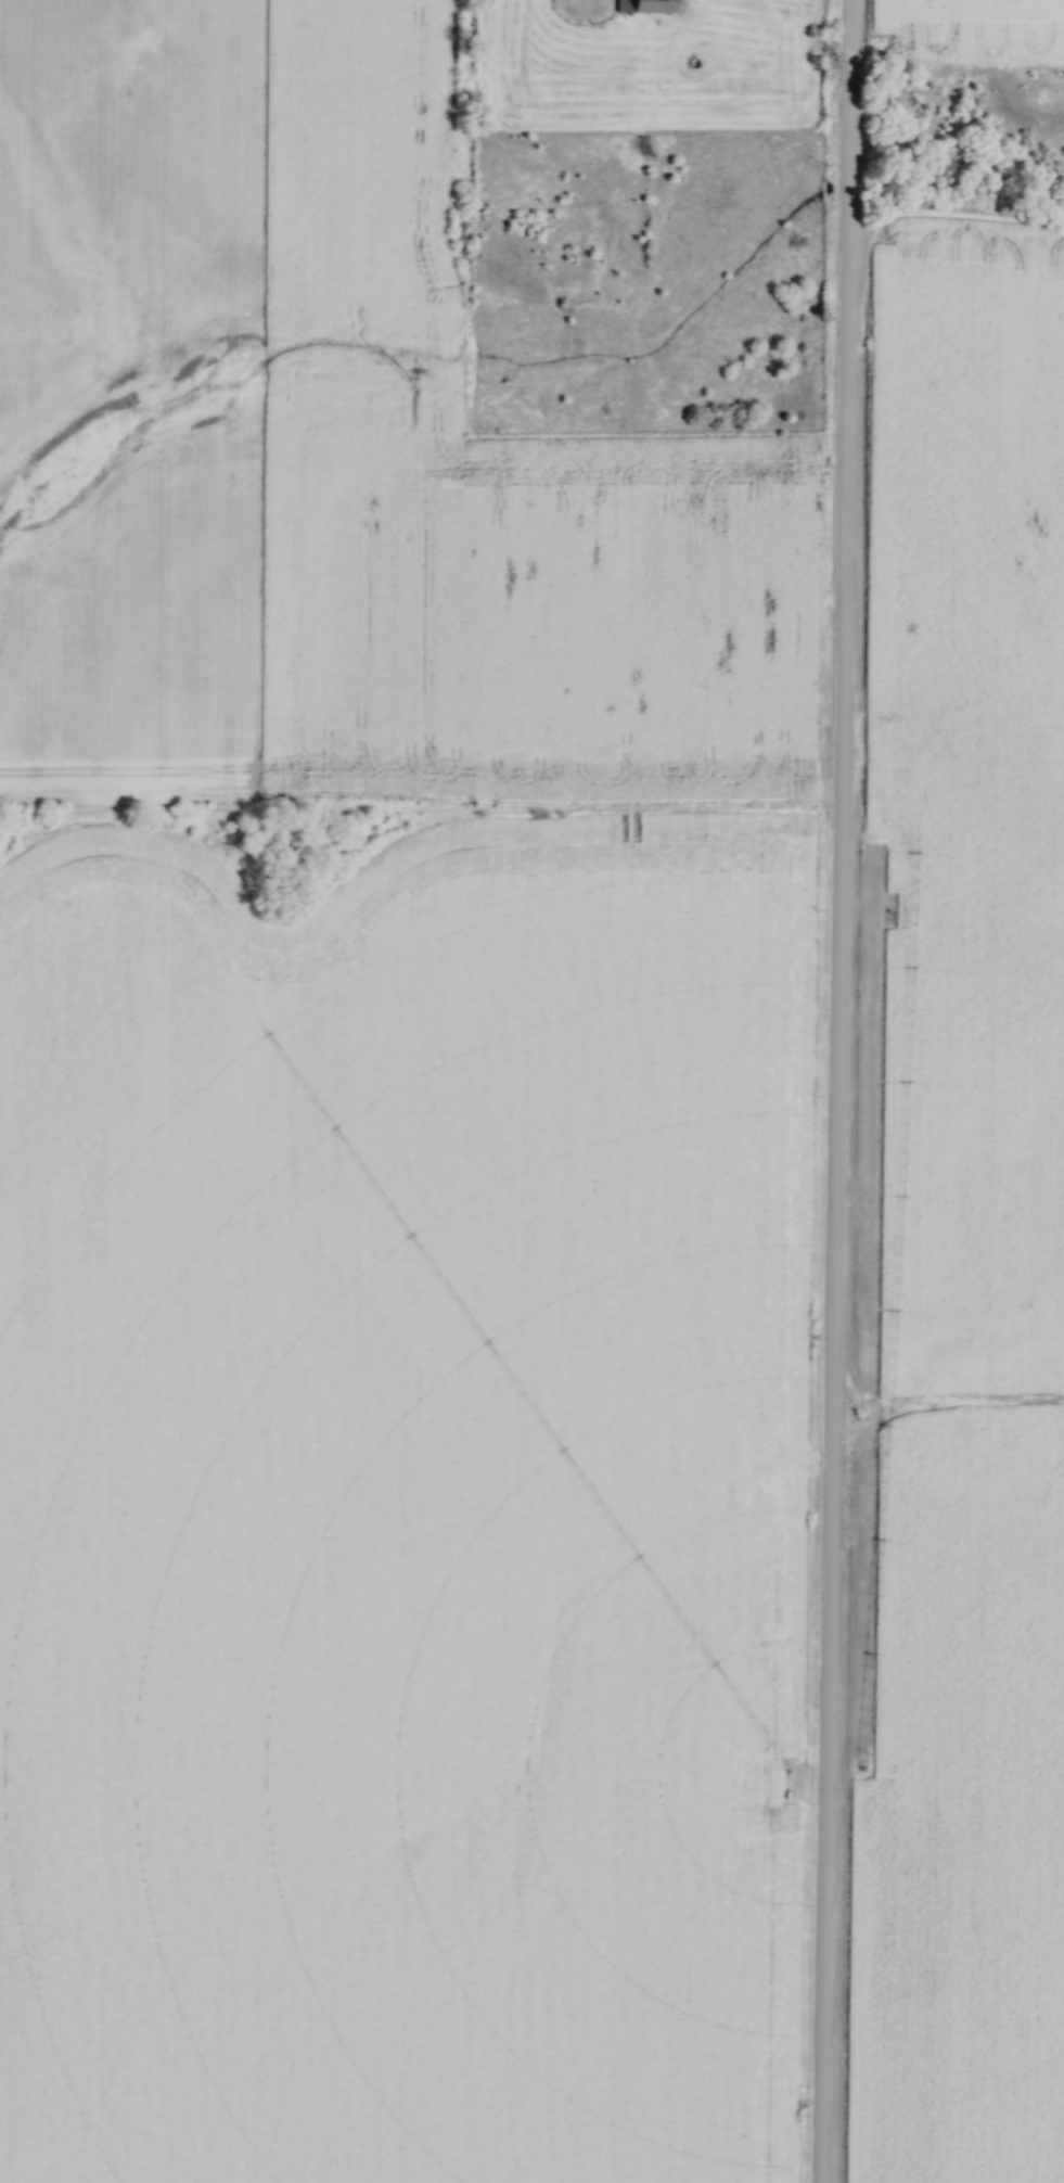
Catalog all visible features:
building: (646, 5)
road: (836, 1091)

